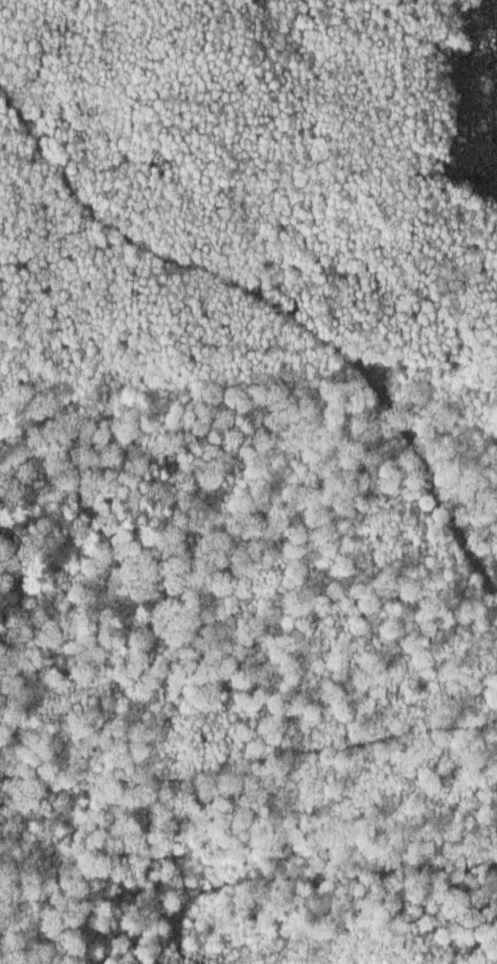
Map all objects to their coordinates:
road: (267, 309)

